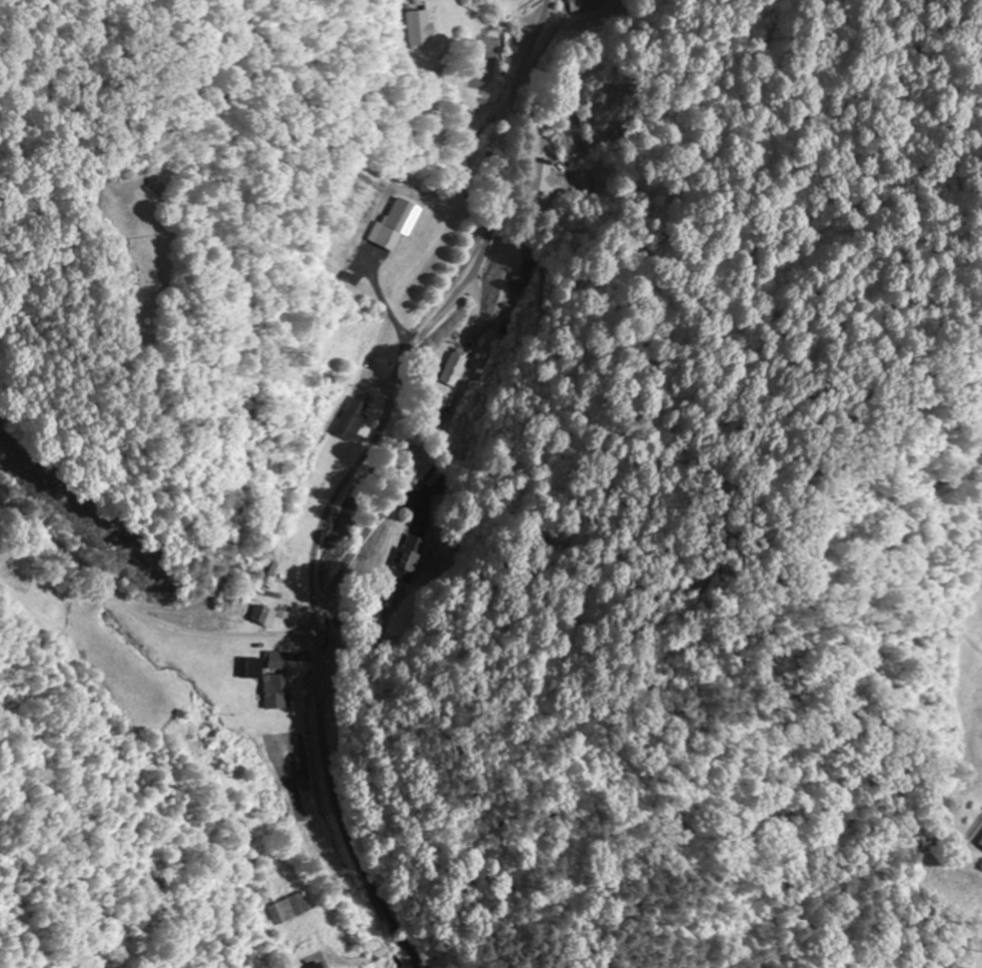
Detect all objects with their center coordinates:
road: (391, 12)
building: (417, 28)
building: (537, 175)
road: (475, 202)
building: (399, 216)
building: (449, 367)
building: (351, 420)
road: (359, 477)
building: (404, 558)
building: (275, 569)
building: (275, 661)
building: (265, 682)
building: (980, 844)
building: (287, 908)
building: (310, 965)

